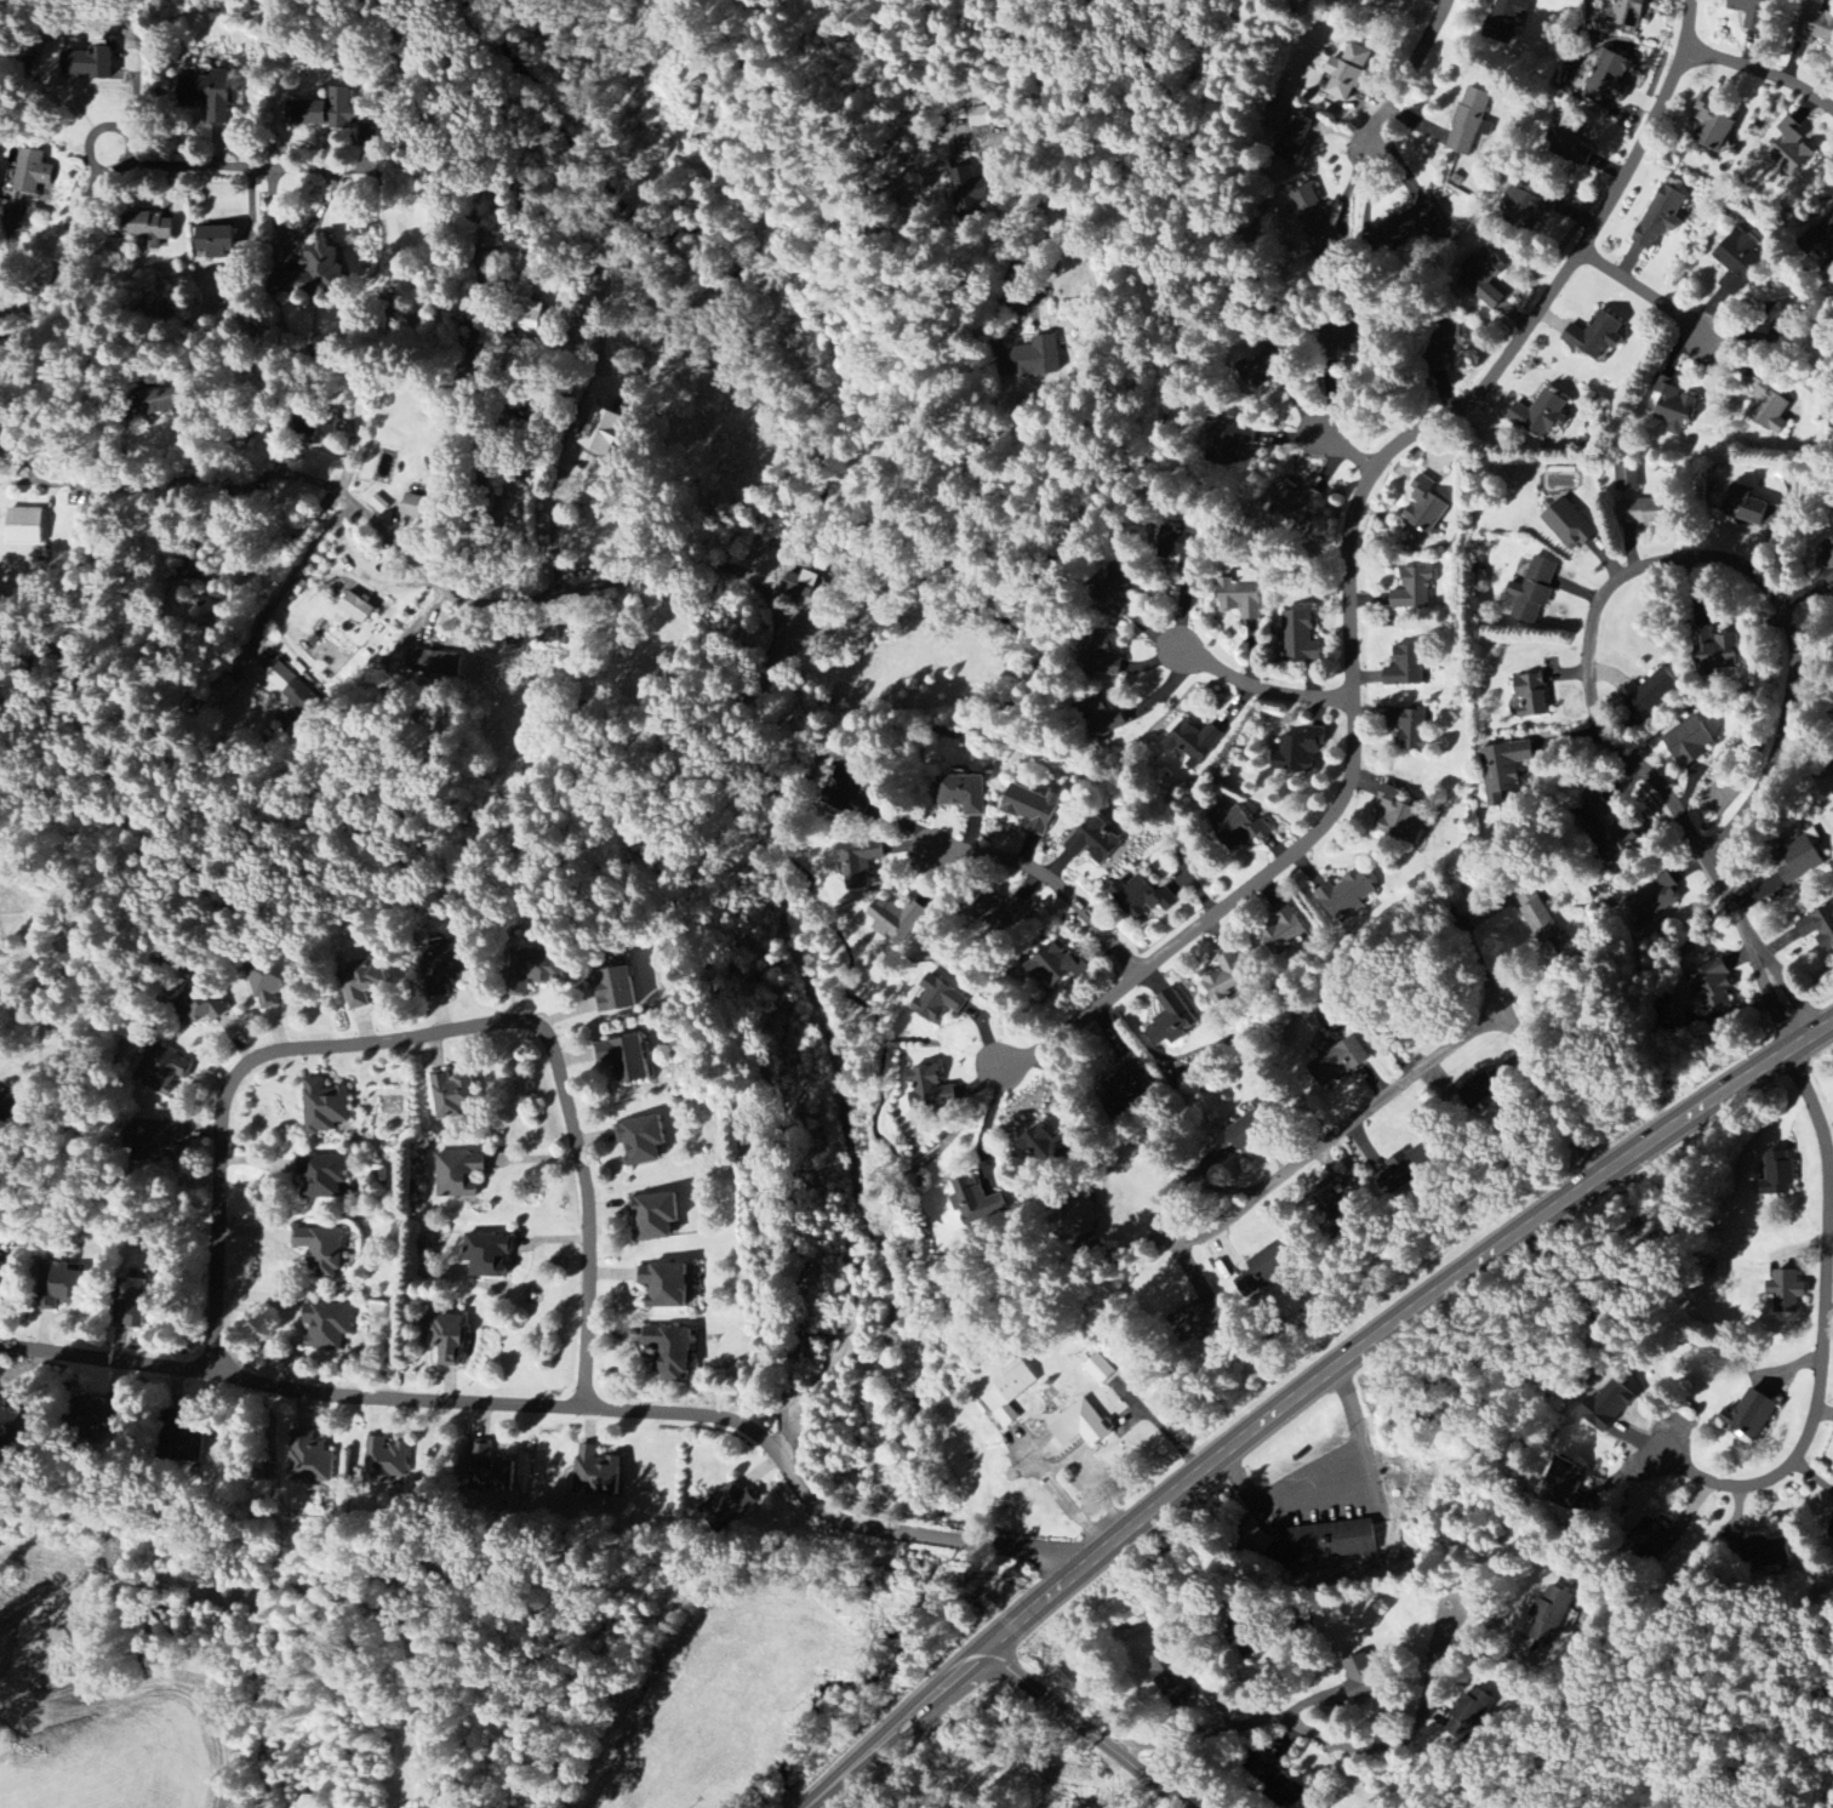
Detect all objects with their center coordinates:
building: (1627, 12)
building: (1506, 19)
building: (1814, 27)
building: (88, 62)
road: (1023, 67)
road: (1763, 68)
road: (1405, 72)
building: (1344, 74)
building: (1600, 76)
building: (207, 95)
building: (325, 112)
building: (980, 116)
building: (1469, 121)
building: (1712, 125)
building: (1287, 129)
building: (1570, 142)
building: (1791, 148)
road: (171, 166)
building: (33, 172)
building: (1526, 207)
building: (1312, 218)
building: (1660, 218)
building: (1409, 228)
building: (145, 229)
building: (1820, 240)
building: (215, 241)
road: (1013, 259)
building: (1737, 261)
building: (310, 270)
building: (1485, 279)
road: (1646, 293)
building: (531, 306)
building: (1776, 321)
building: (1597, 338)
building: (1443, 344)
building: (1040, 358)
building: (1267, 373)
building: (1674, 411)
building: (1768, 411)
building: (1540, 415)
road: (563, 443)
road: (1344, 450)
building: (1627, 478)
building: (1295, 503)
building: (1745, 504)
building: (1423, 507)
building: (422, 508)
building: (1643, 512)
building: (1569, 525)
building: (24, 526)
road: (1351, 561)
building: (1827, 561)
building: (800, 586)
road: (809, 588)
building: (1414, 589)
building: (1532, 591)
building: (1118, 592)
building: (1240, 597)
building: (352, 605)
road: (1780, 606)
building: (1298, 638)
building: (331, 650)
building: (1103, 655)
building: (1717, 655)
building: (439, 660)
building: (1405, 667)
building: (290, 685)
road: (1262, 688)
building: (1650, 694)
building: (1531, 696)
building: (1107, 715)
building: (1410, 729)
building: (1689, 741)
building: (1193, 742)
building: (1297, 751)
building: (1503, 769)
building: (964, 794)
road: (670, 800)
building: (1032, 808)
building: (1400, 817)
building: (1237, 828)
building: (1606, 828)
building: (1095, 840)
building: (1797, 860)
building: (861, 863)
road: (1051, 878)
building: (1346, 895)
building: (1142, 897)
building: (1655, 899)
building: (1001, 911)
building: (1536, 914)
building: (896, 919)
building: (1820, 928)
building: (1284, 930)
building: (1056, 964)
building: (445, 969)
building: (1227, 979)
building: (364, 982)
building: (1712, 985)
building: (269, 986)
building: (616, 991)
building: (937, 999)
building: (202, 1003)
building: (1171, 1020)
road: (450, 1043)
building: (624, 1059)
road: (1415, 1070)
building: (166, 1071)
building: (1126, 1078)
building: (929, 1089)
building: (1478, 1091)
building: (451, 1094)
building: (10, 1106)
building: (324, 1107)
building: (1245, 1133)
building: (156, 1139)
building: (641, 1141)
building: (1049, 1146)
building: (1404, 1170)
building: (458, 1174)
building: (321, 1176)
building: (1778, 1176)
building: (976, 1202)
building: (1329, 1204)
building: (655, 1216)
building: (320, 1250)
building: (487, 1256)
building: (1263, 1271)
building: (2, 1277)
building: (58, 1285)
building: (664, 1285)
building: (1787, 1291)
building: (130, 1304)
building: (1197, 1321)
building: (330, 1328)
road: (1823, 1336)
building: (450, 1339)
building: (670, 1352)
building: (1098, 1369)
road: (1306, 1388)
building: (1007, 1393)
road: (400, 1407)
building: (1608, 1407)
building: (1751, 1415)
building: (102, 1416)
building: (1084, 1425)
building: (11, 1426)
road: (1158, 1427)
building: (310, 1461)
building: (383, 1464)
building: (491, 1470)
building: (596, 1473)
road: (1313, 1476)
building: (1564, 1483)
road: (1061, 1496)
building: (726, 1507)
building: (1831, 1533)
building: (1655, 1538)
building: (1313, 1542)
building: (1768, 1553)
building: (1548, 1621)
building: (1166, 1673)
building: (1360, 1679)
building: (1469, 1716)
road: (1086, 1729)
road: (1359, 1757)
building: (1278, 1780)

